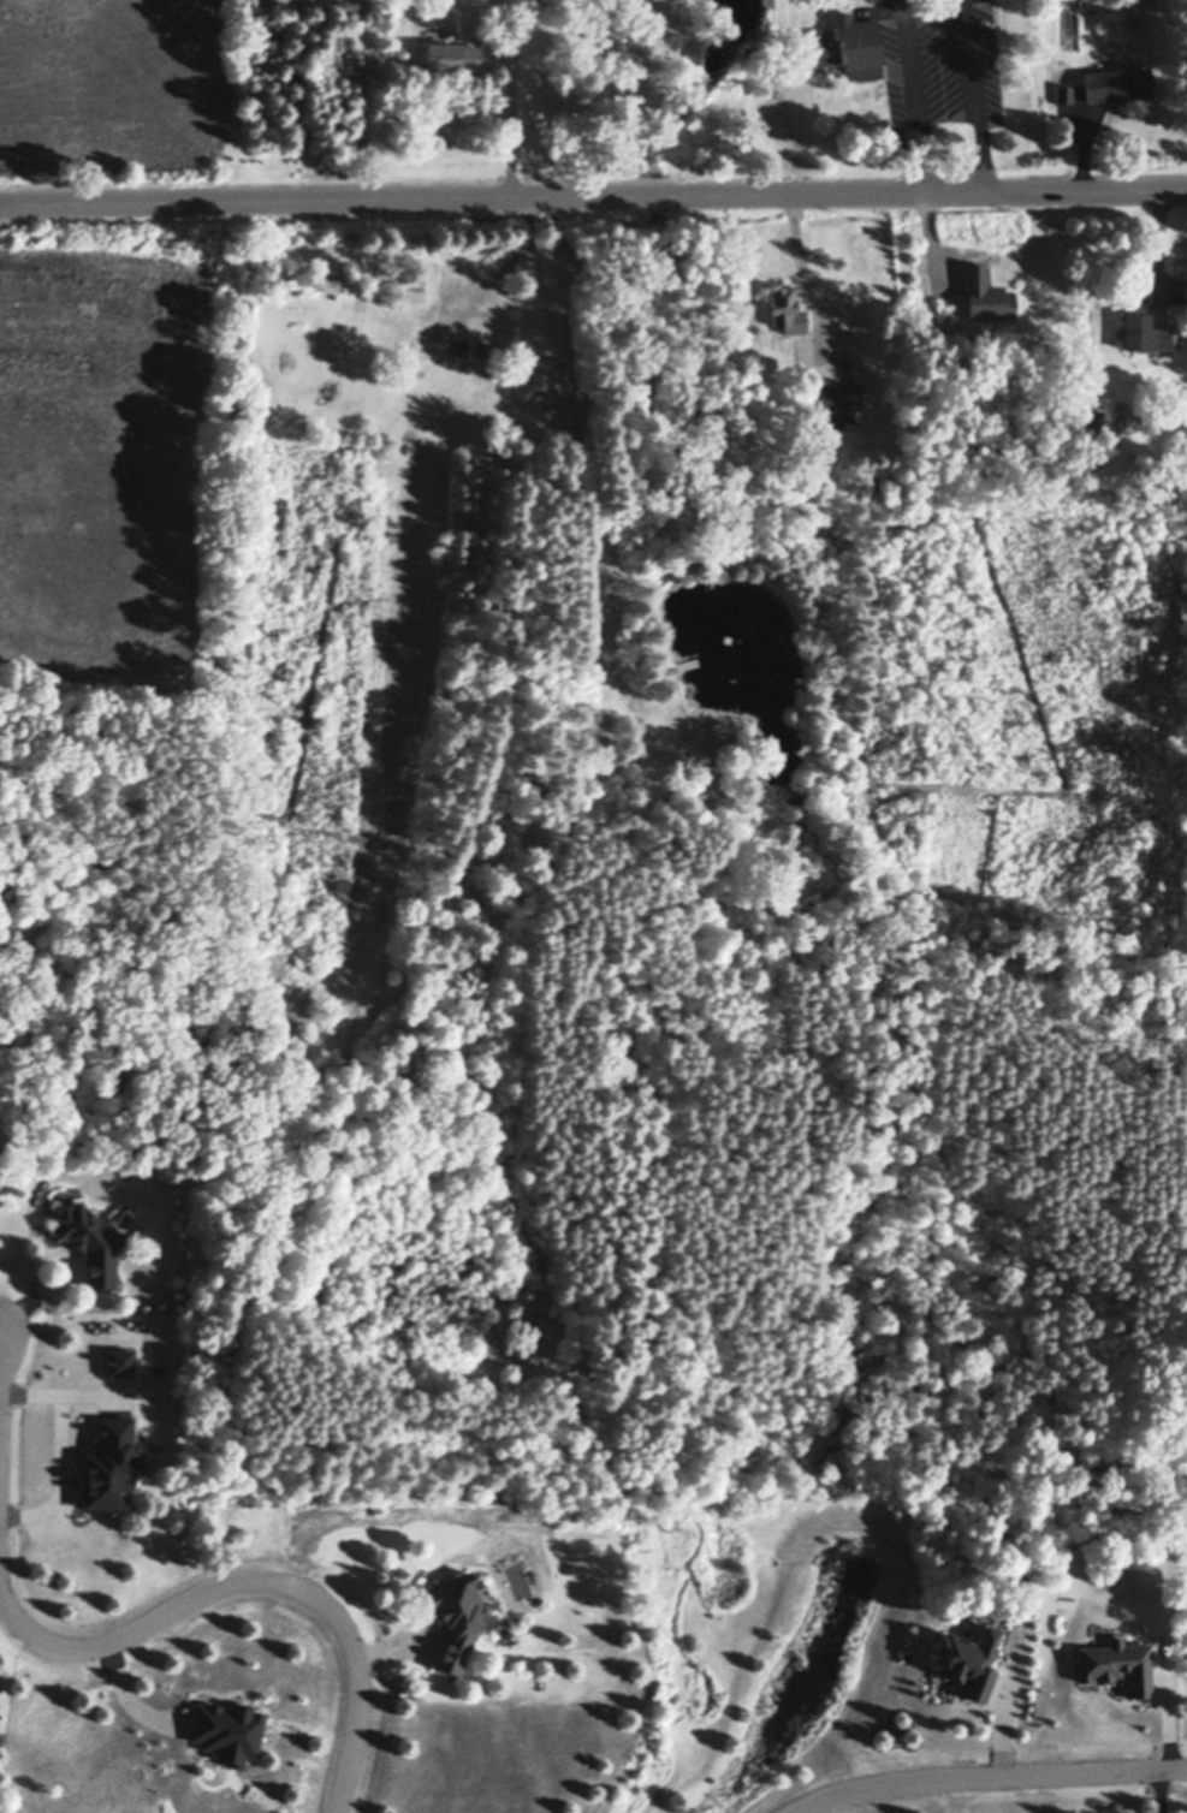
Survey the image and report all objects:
building: (849, 43)
building: (451, 49)
road: (934, 60)
building: (1117, 81)
building: (1064, 91)
road: (510, 96)
road: (948, 101)
road: (593, 194)
road: (801, 273)
building: (399, 279)
building: (357, 283)
building: (985, 291)
building: (785, 305)
building: (1144, 329)
building: (831, 402)
building: (1087, 417)
building: (91, 1240)
road: (64, 1391)
road: (59, 1473)
road: (253, 1581)
building: (458, 1616)
building: (968, 1659)
road: (986, 1779)
road: (1157, 1793)

